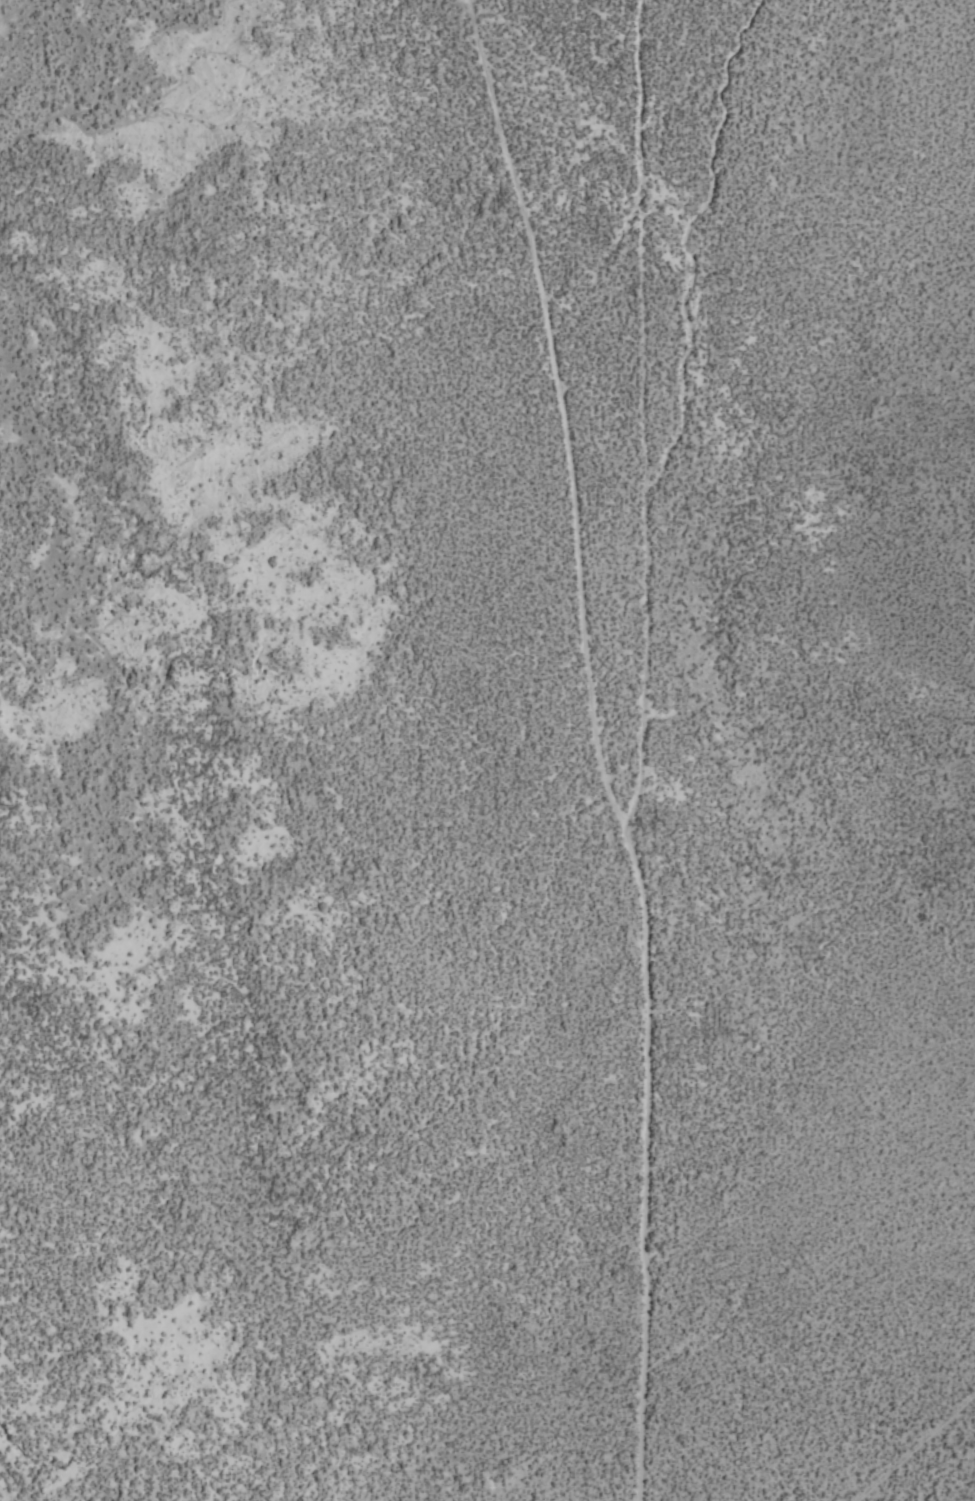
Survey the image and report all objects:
road: (597, 747)
road: (914, 1445)

